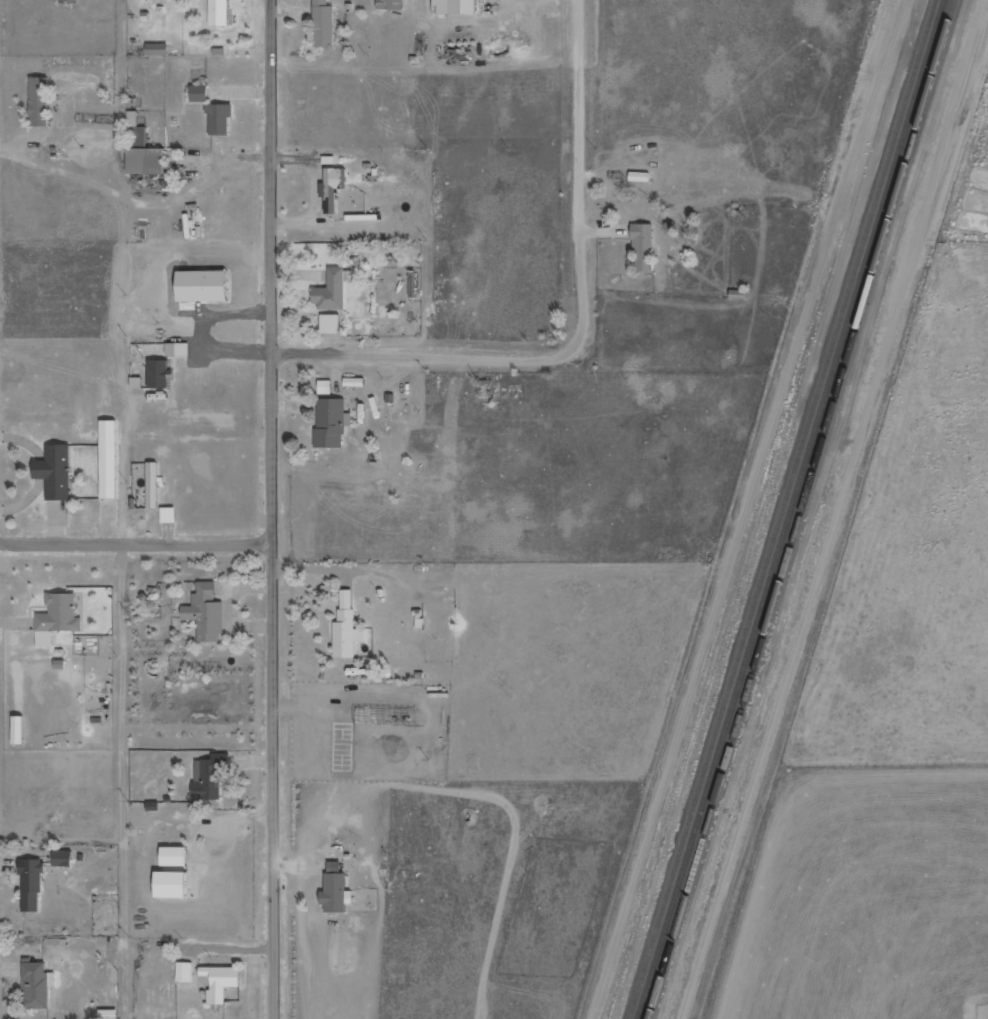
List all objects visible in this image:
building: (391, 4)
building: (456, 6)
building: (220, 12)
building: (325, 23)
building: (158, 49)
building: (200, 93)
building: (41, 101)
building: (220, 118)
building: (144, 150)
building: (641, 177)
building: (334, 187)
road: (579, 239)
building: (644, 247)
building: (206, 286)
building: (332, 291)
building: (332, 324)
building: (178, 349)
road: (359, 350)
building: (158, 374)
building: (138, 382)
building: (355, 382)
building: (325, 387)
building: (332, 422)
building: (110, 459)
building: (56, 471)
building: (153, 485)
road: (273, 509)
railway: (785, 509)
railway: (795, 509)
railway: (805, 509)
building: (169, 516)
road: (136, 541)
building: (207, 612)
building: (58, 618)
building: (347, 628)
building: (20, 730)
building: (211, 776)
building: (176, 857)
building: (64, 858)
building: (32, 884)
building: (173, 885)
building: (185, 972)
building: (224, 985)
building: (109, 1014)

